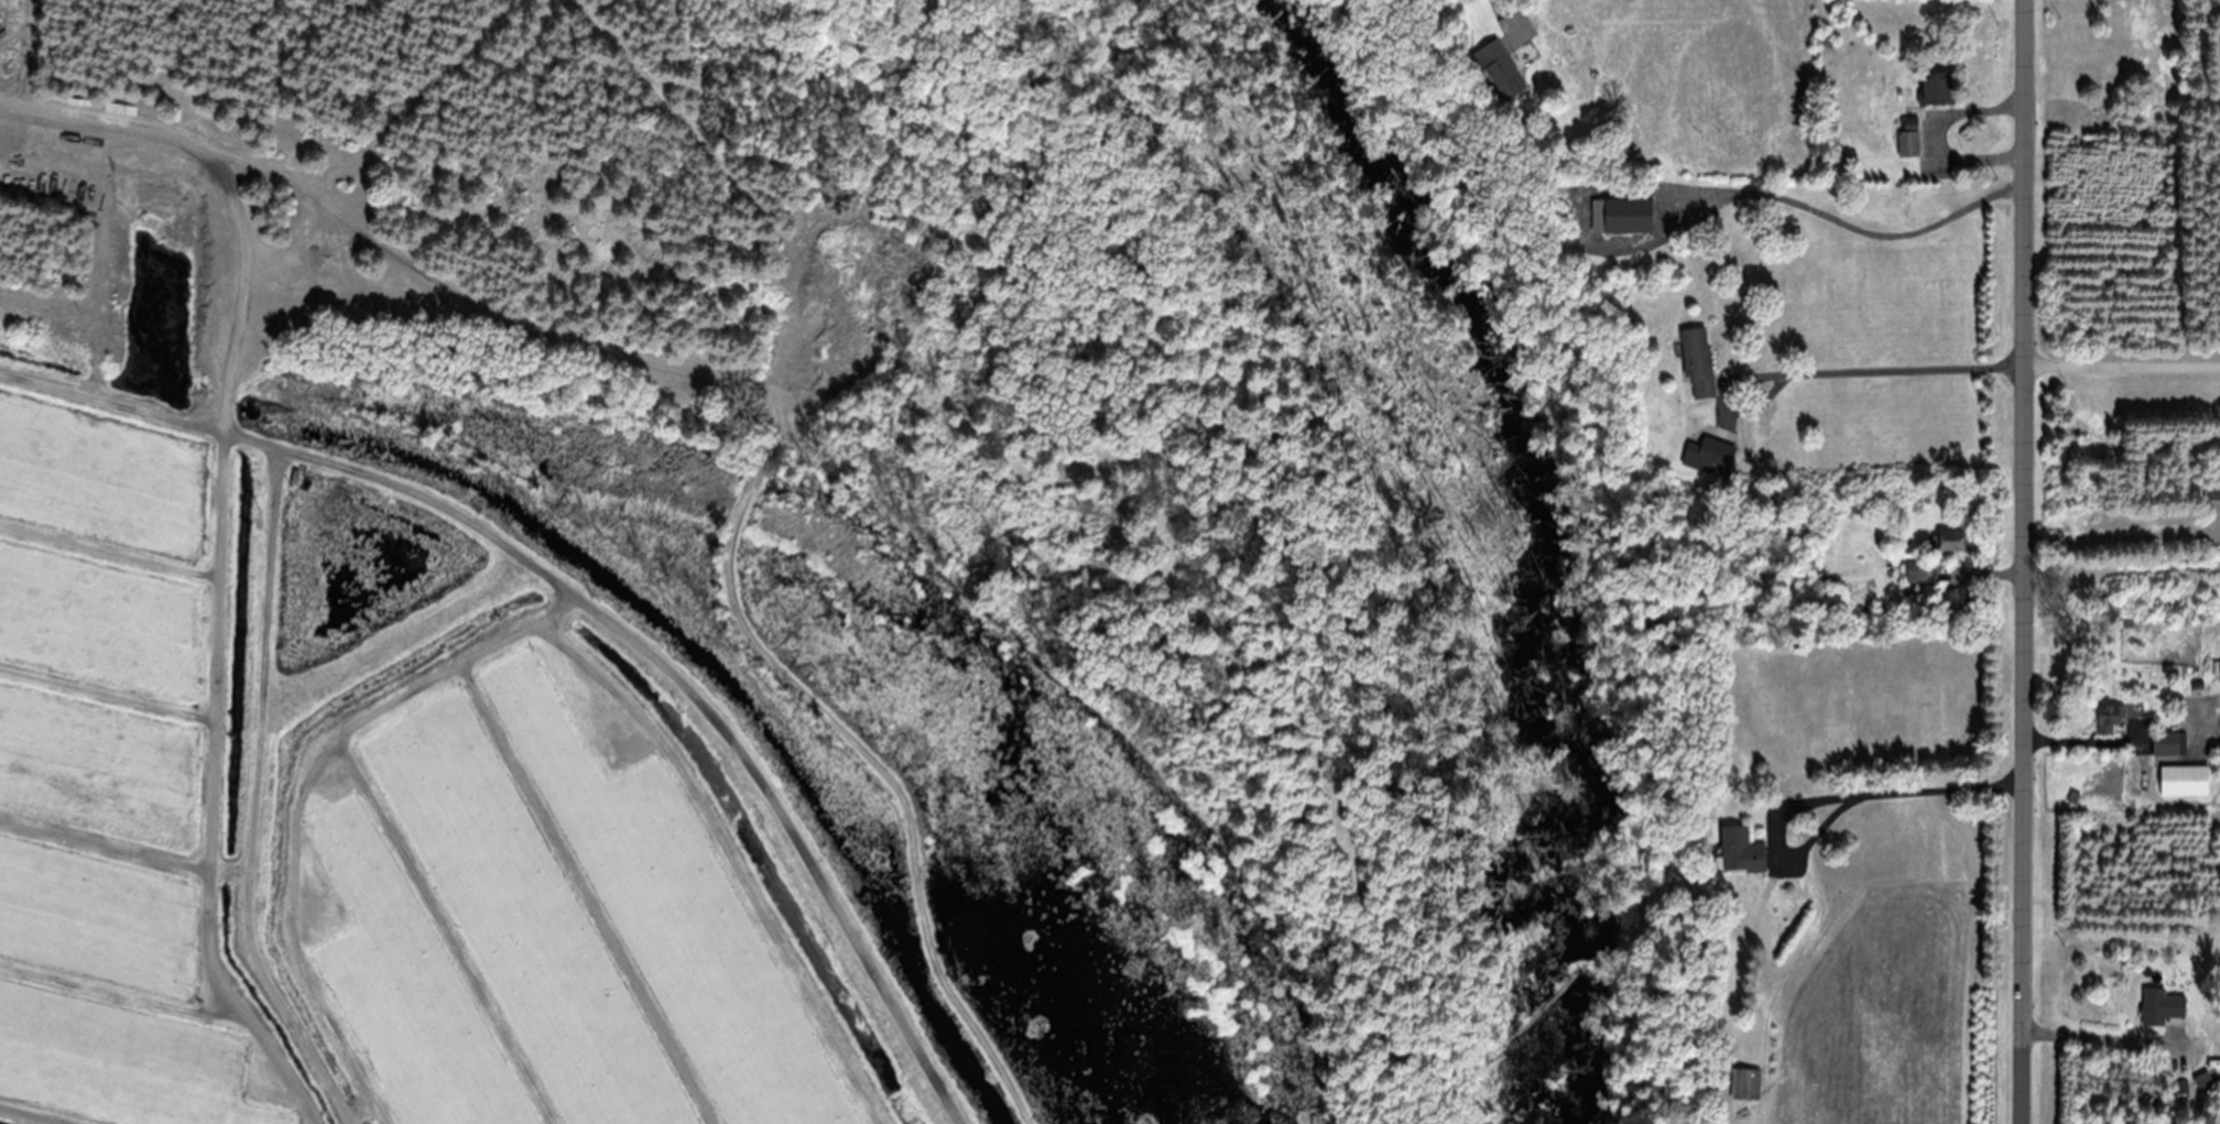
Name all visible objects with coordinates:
building: (1499, 68)
building: (1905, 138)
building: (1617, 216)
road: (2121, 360)
building: (1694, 362)
building: (1706, 455)
building: (2209, 489)
building: (1947, 541)
road: (2022, 561)
building: (1912, 571)
building: (2217, 670)
building: (2105, 718)
building: (2165, 743)
building: (2179, 781)
crop: (377, 818)
building: (1735, 851)
building: (2157, 1006)
crop: (1885, 1011)
building: (2200, 1080)
building: (1741, 1083)

